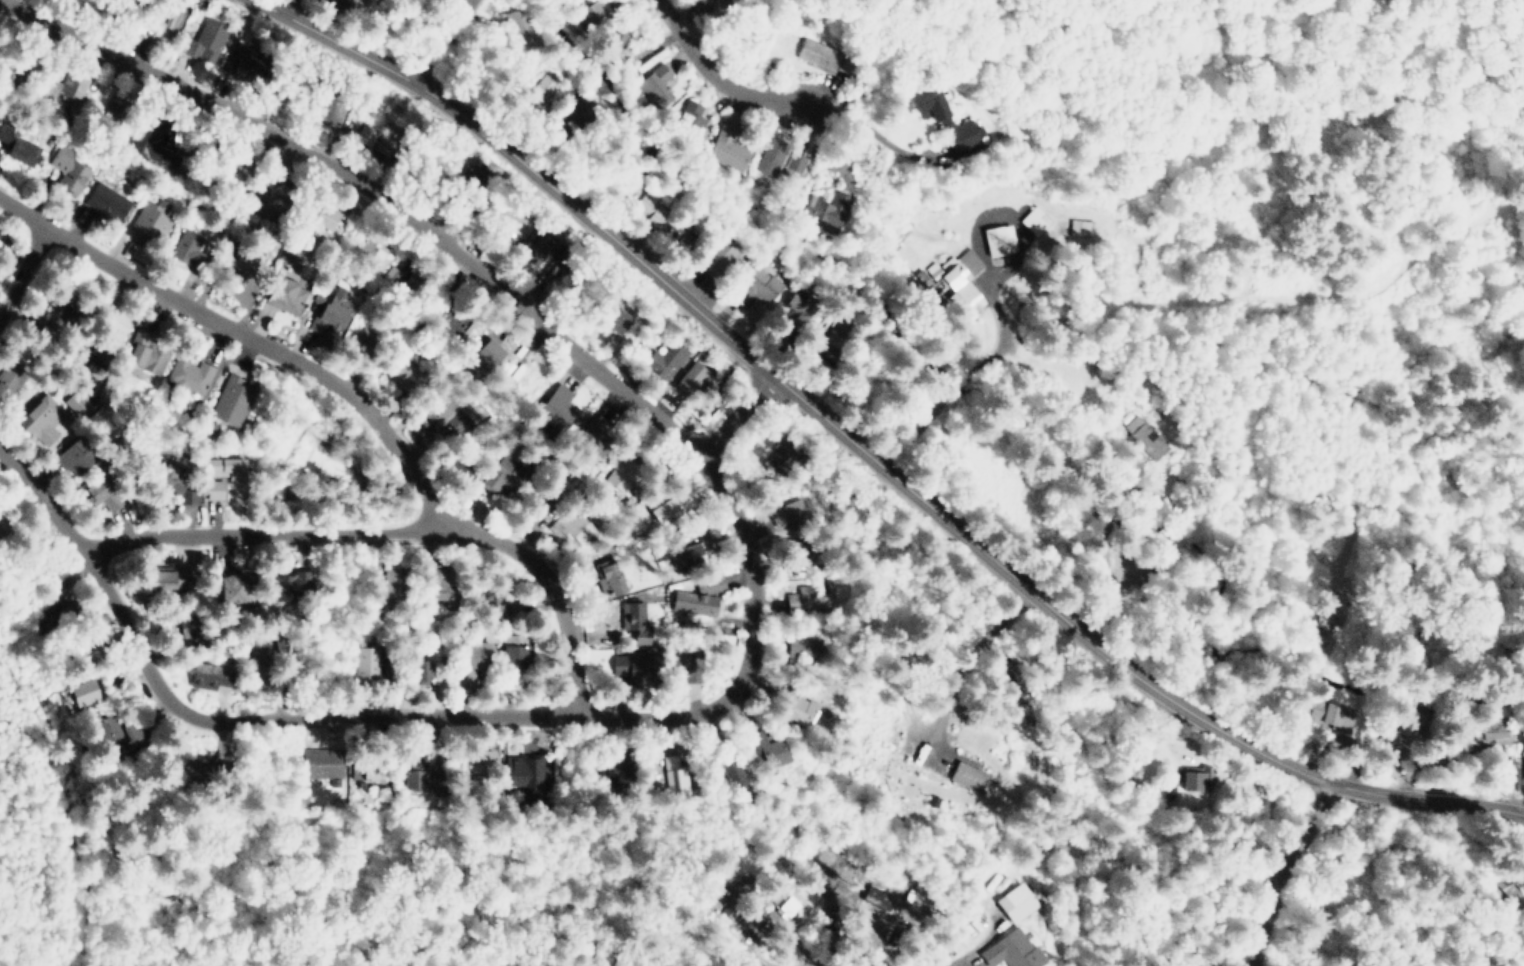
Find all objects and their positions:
building: (716, 0)
building: (346, 1)
road: (282, 5)
building: (590, 10)
building: (170, 15)
building: (522, 23)
building: (617, 39)
building: (205, 40)
road: (443, 40)
building: (817, 53)
building: (244, 61)
building: (15, 66)
road: (715, 69)
building: (653, 83)
building: (543, 85)
building: (62, 86)
building: (529, 101)
building: (113, 107)
building: (329, 107)
building: (928, 109)
building: (574, 116)
building: (688, 117)
road: (866, 131)
building: (144, 132)
building: (383, 133)
building: (961, 134)
building: (17, 143)
building: (728, 146)
building: (771, 156)
building: (796, 162)
building: (69, 171)
building: (231, 172)
building: (478, 178)
road: (374, 193)
building: (271, 198)
building: (103, 199)
building: (642, 203)
building: (825, 207)
building: (318, 218)
building: (1035, 219)
building: (517, 220)
building: (150, 223)
building: (1080, 226)
building: (679, 233)
building: (1143, 233)
building: (1000, 240)
building: (189, 247)
building: (537, 247)
building: (367, 249)
building: (717, 253)
building: (564, 256)
building: (242, 260)
road: (24, 270)
building: (957, 278)
building: (760, 287)
building: (412, 290)
building: (286, 295)
road: (1090, 304)
building: (59, 309)
building: (329, 313)
building: (798, 314)
building: (615, 317)
building: (108, 320)
building: (362, 341)
building: (833, 347)
building: (145, 351)
building: (667, 355)
building: (488, 356)
building: (99, 358)
building: (689, 373)
building: (406, 375)
building: (191, 376)
building: (11, 378)
building: (230, 399)
building: (76, 402)
road: (351, 403)
building: (555, 410)
building: (445, 412)
road: (739, 414)
building: (38, 415)
building: (462, 418)
building: (594, 431)
building: (1148, 439)
road: (869, 453)
building: (72, 454)
building: (782, 455)
building: (461, 459)
building: (220, 472)
building: (502, 472)
building: (621, 472)
building: (177, 478)
building: (103, 494)
building: (664, 508)
building: (787, 512)
building: (568, 523)
building: (4, 525)
road: (274, 534)
road: (1104, 555)
building: (688, 556)
building: (607, 578)
building: (164, 579)
building: (290, 580)
building: (443, 583)
building: (396, 584)
building: (232, 586)
building: (711, 604)
building: (804, 605)
building: (506, 607)
building: (66, 612)
building: (632, 619)
building: (1318, 620)
building: (192, 622)
building: (802, 643)
building: (367, 655)
building: (476, 655)
building: (517, 656)
building: (260, 662)
building: (686, 665)
road: (965, 665)
building: (631, 666)
building: (422, 667)
building: (212, 676)
building: (85, 690)
building: (804, 714)
building: (1330, 714)
road: (429, 716)
building: (1416, 721)
building: (118, 729)
building: (1494, 729)
road: (535, 748)
building: (771, 752)
building: (479, 759)
building: (322, 763)
building: (372, 765)
building: (1522, 765)
building: (524, 771)
building: (425, 772)
building: (192, 774)
building: (1196, 774)
building: (728, 775)
building: (620, 776)
building: (968, 776)
building: (675, 781)
building: (1164, 788)
road: (1284, 872)
building: (1514, 887)
building: (735, 896)
building: (876, 898)
building: (1014, 899)
building: (782, 906)
road: (977, 946)
building: (1011, 949)

